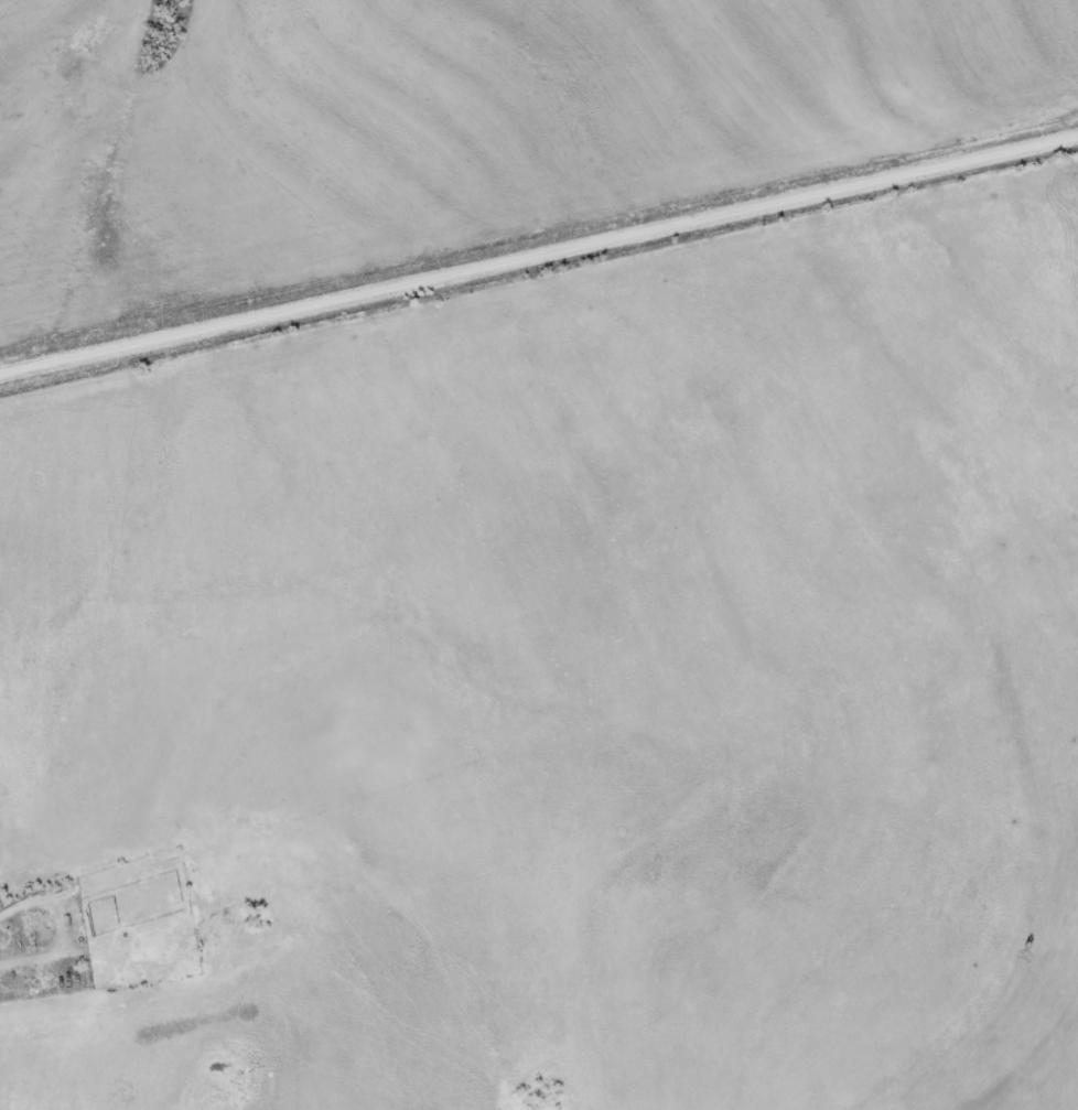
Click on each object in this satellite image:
road: (539, 255)

